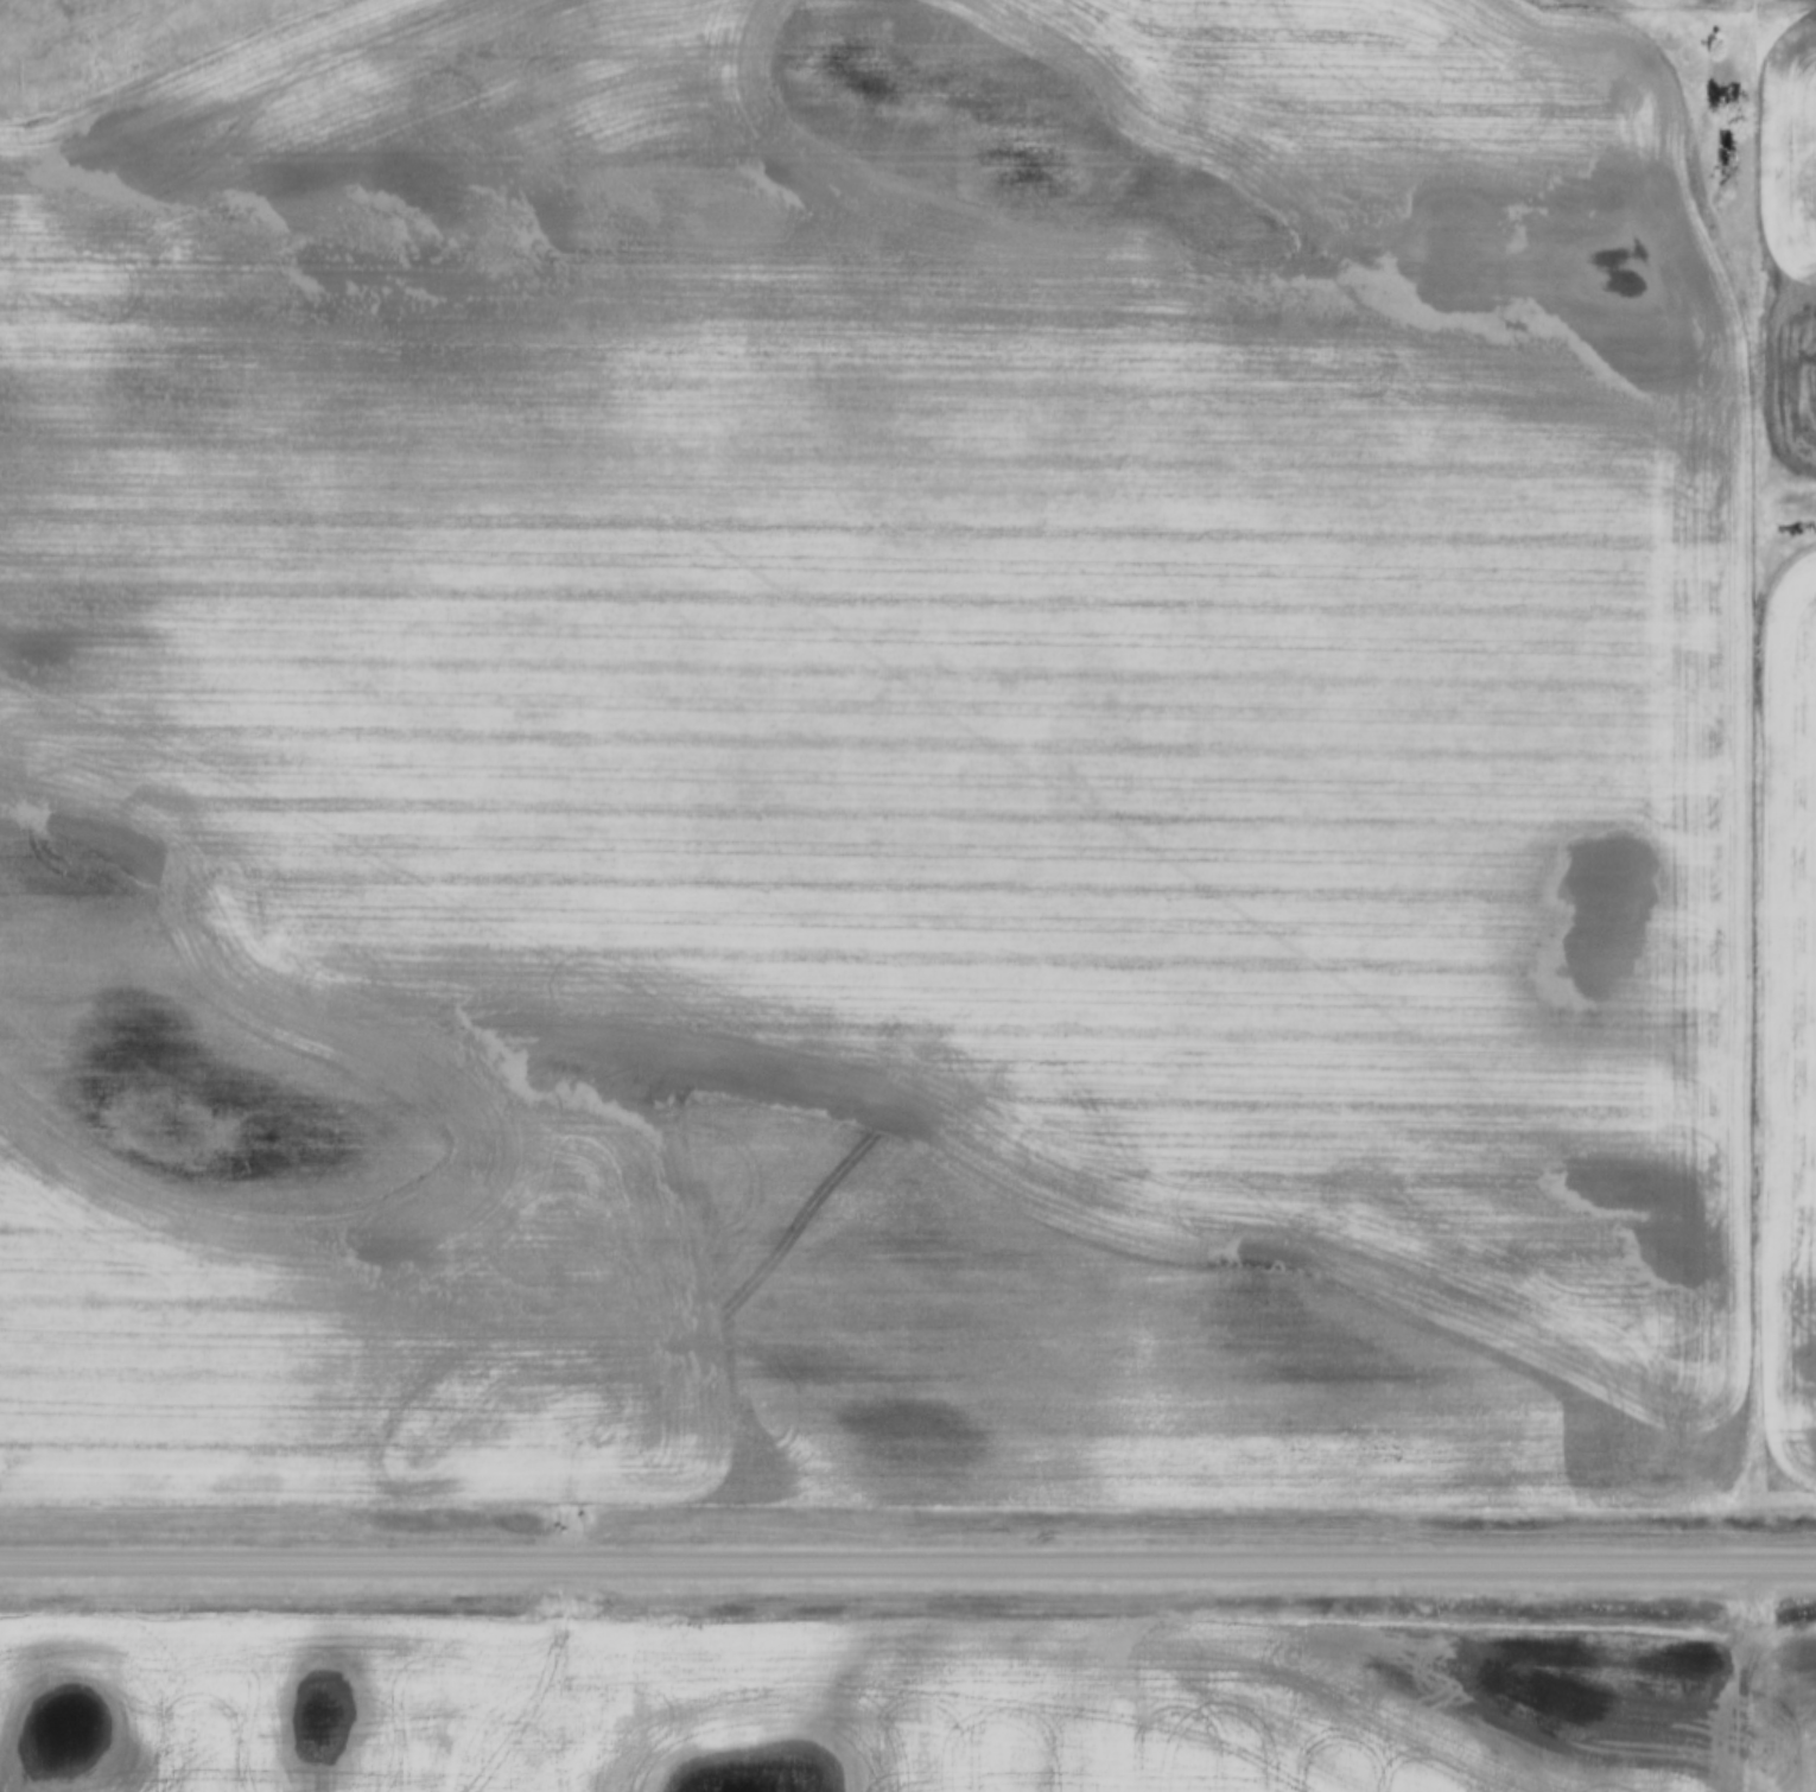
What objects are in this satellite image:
road: (1748, 782)
road: (908, 1564)

